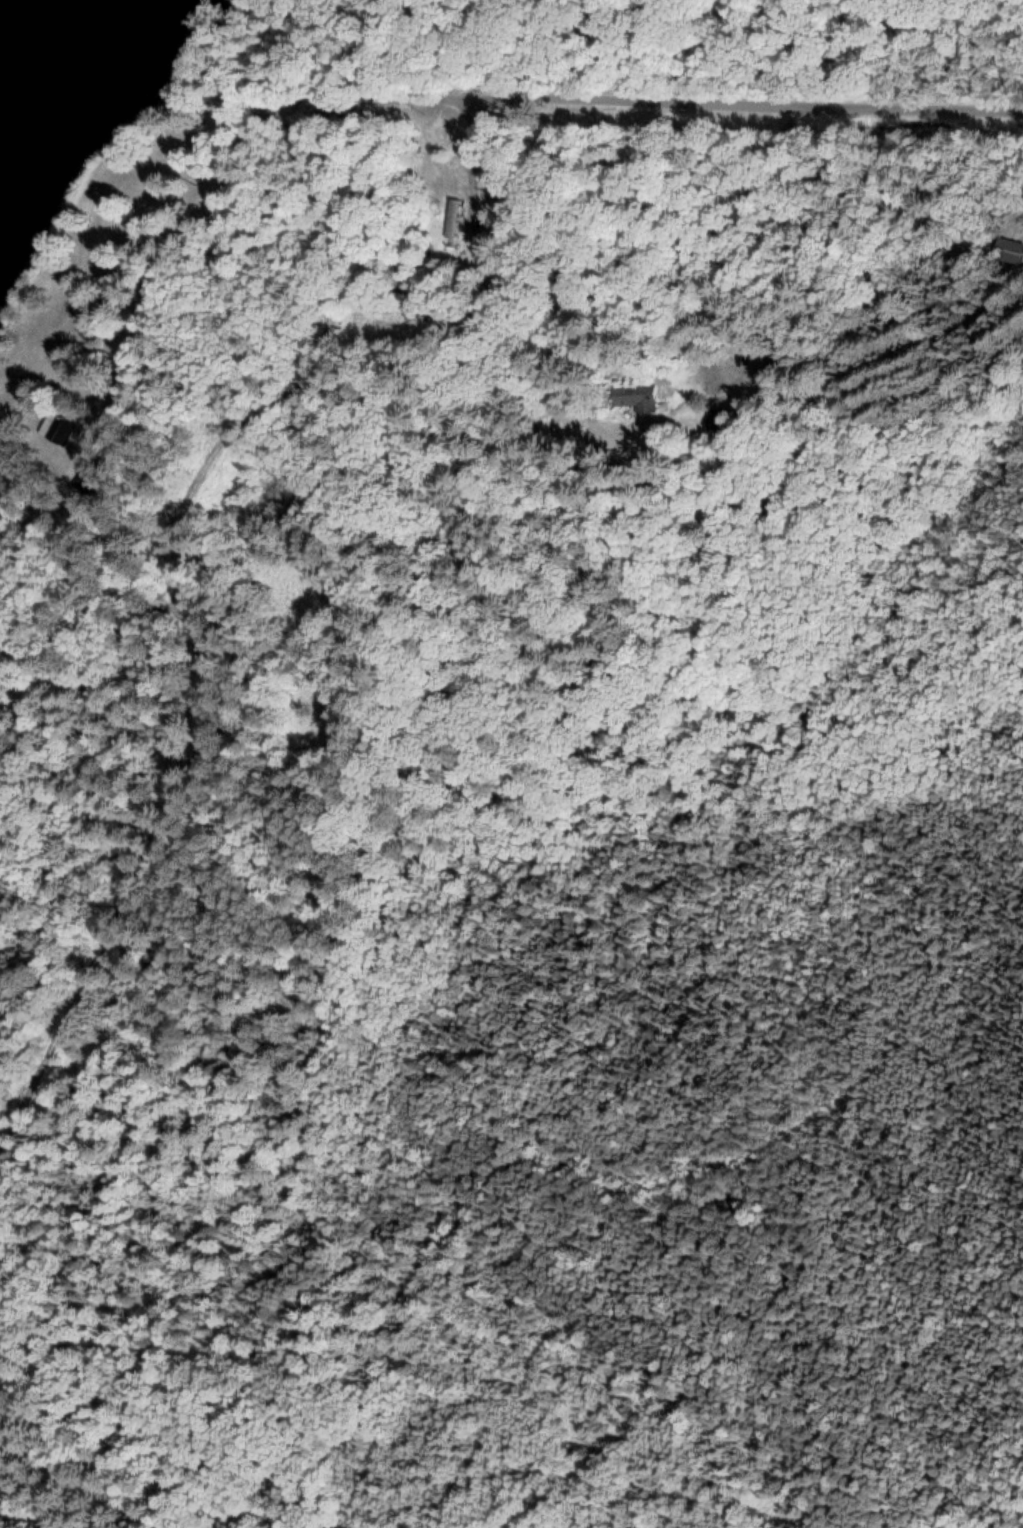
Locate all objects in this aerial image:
river: (41, 44)
road: (747, 105)
road: (278, 112)
building: (452, 222)
road: (563, 248)
building: (1010, 250)
building: (635, 396)
building: (59, 429)

